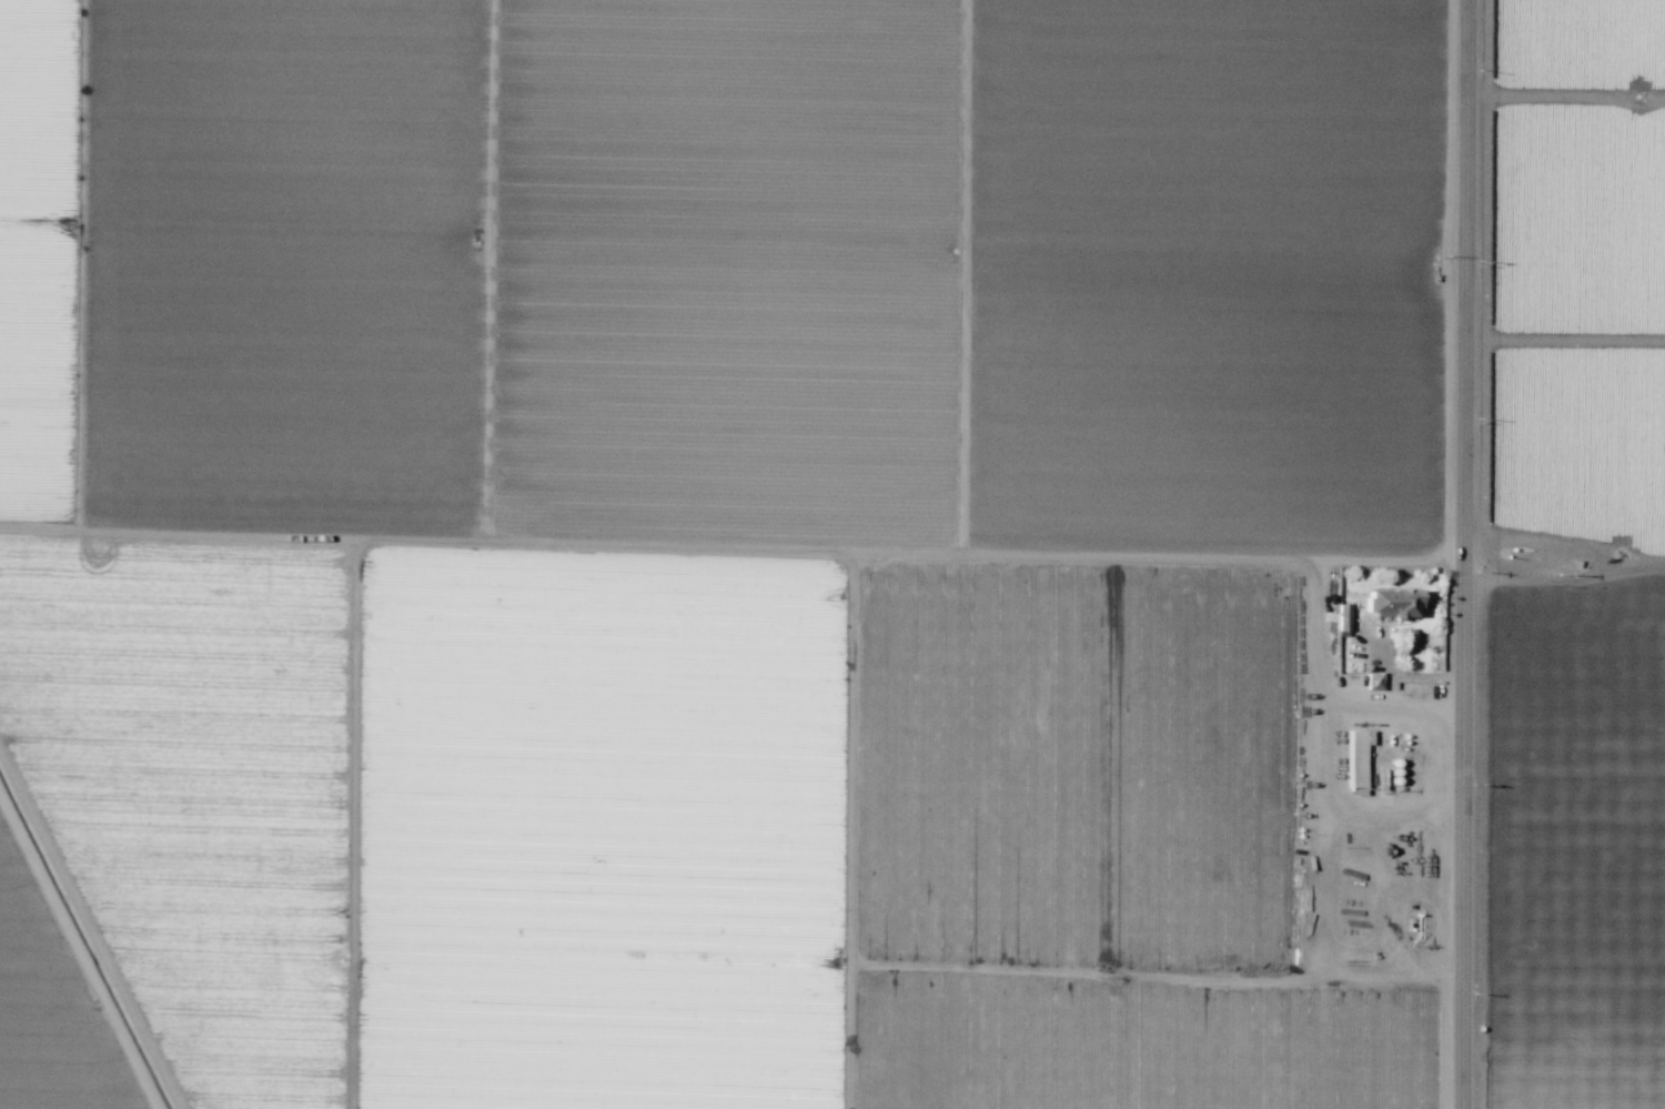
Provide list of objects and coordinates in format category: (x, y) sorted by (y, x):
crop: (833, 554)
road: (1466, 554)
building: (1392, 603)
building: (1354, 758)

